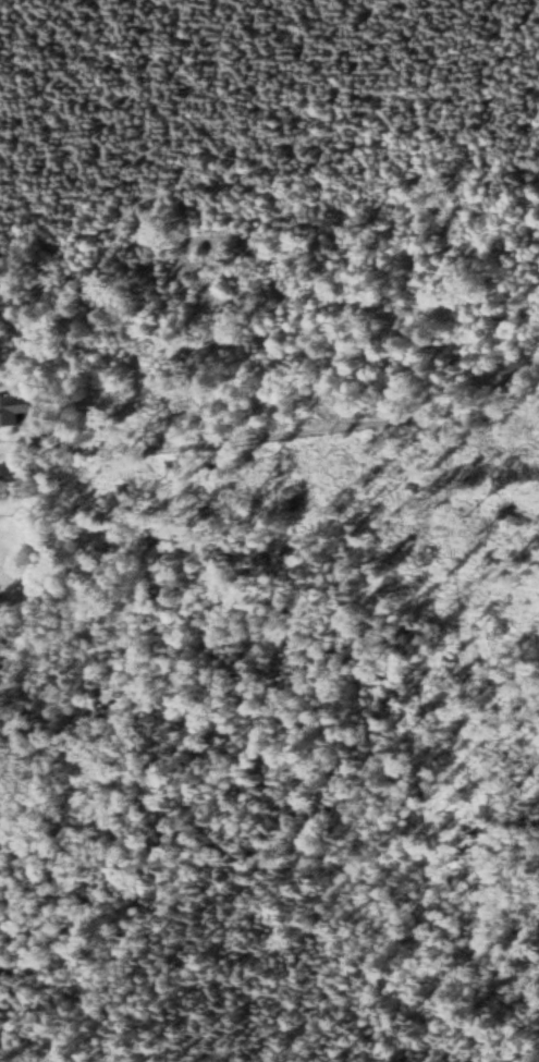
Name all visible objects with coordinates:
road: (262, 395)
building: (12, 412)

